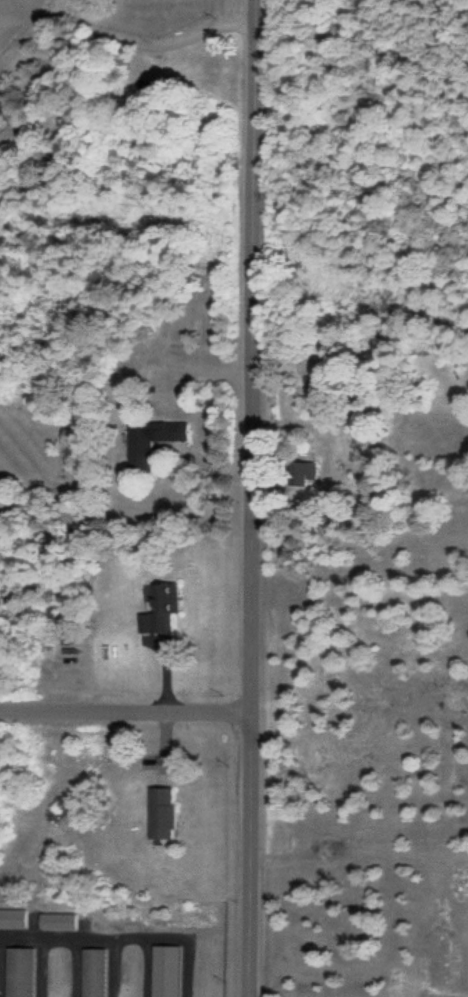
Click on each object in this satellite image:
building: (150, 90)
building: (3, 108)
building: (152, 443)
building: (305, 474)
road: (242, 498)
building: (165, 608)
building: (164, 806)
building: (19, 973)
building: (93, 973)

